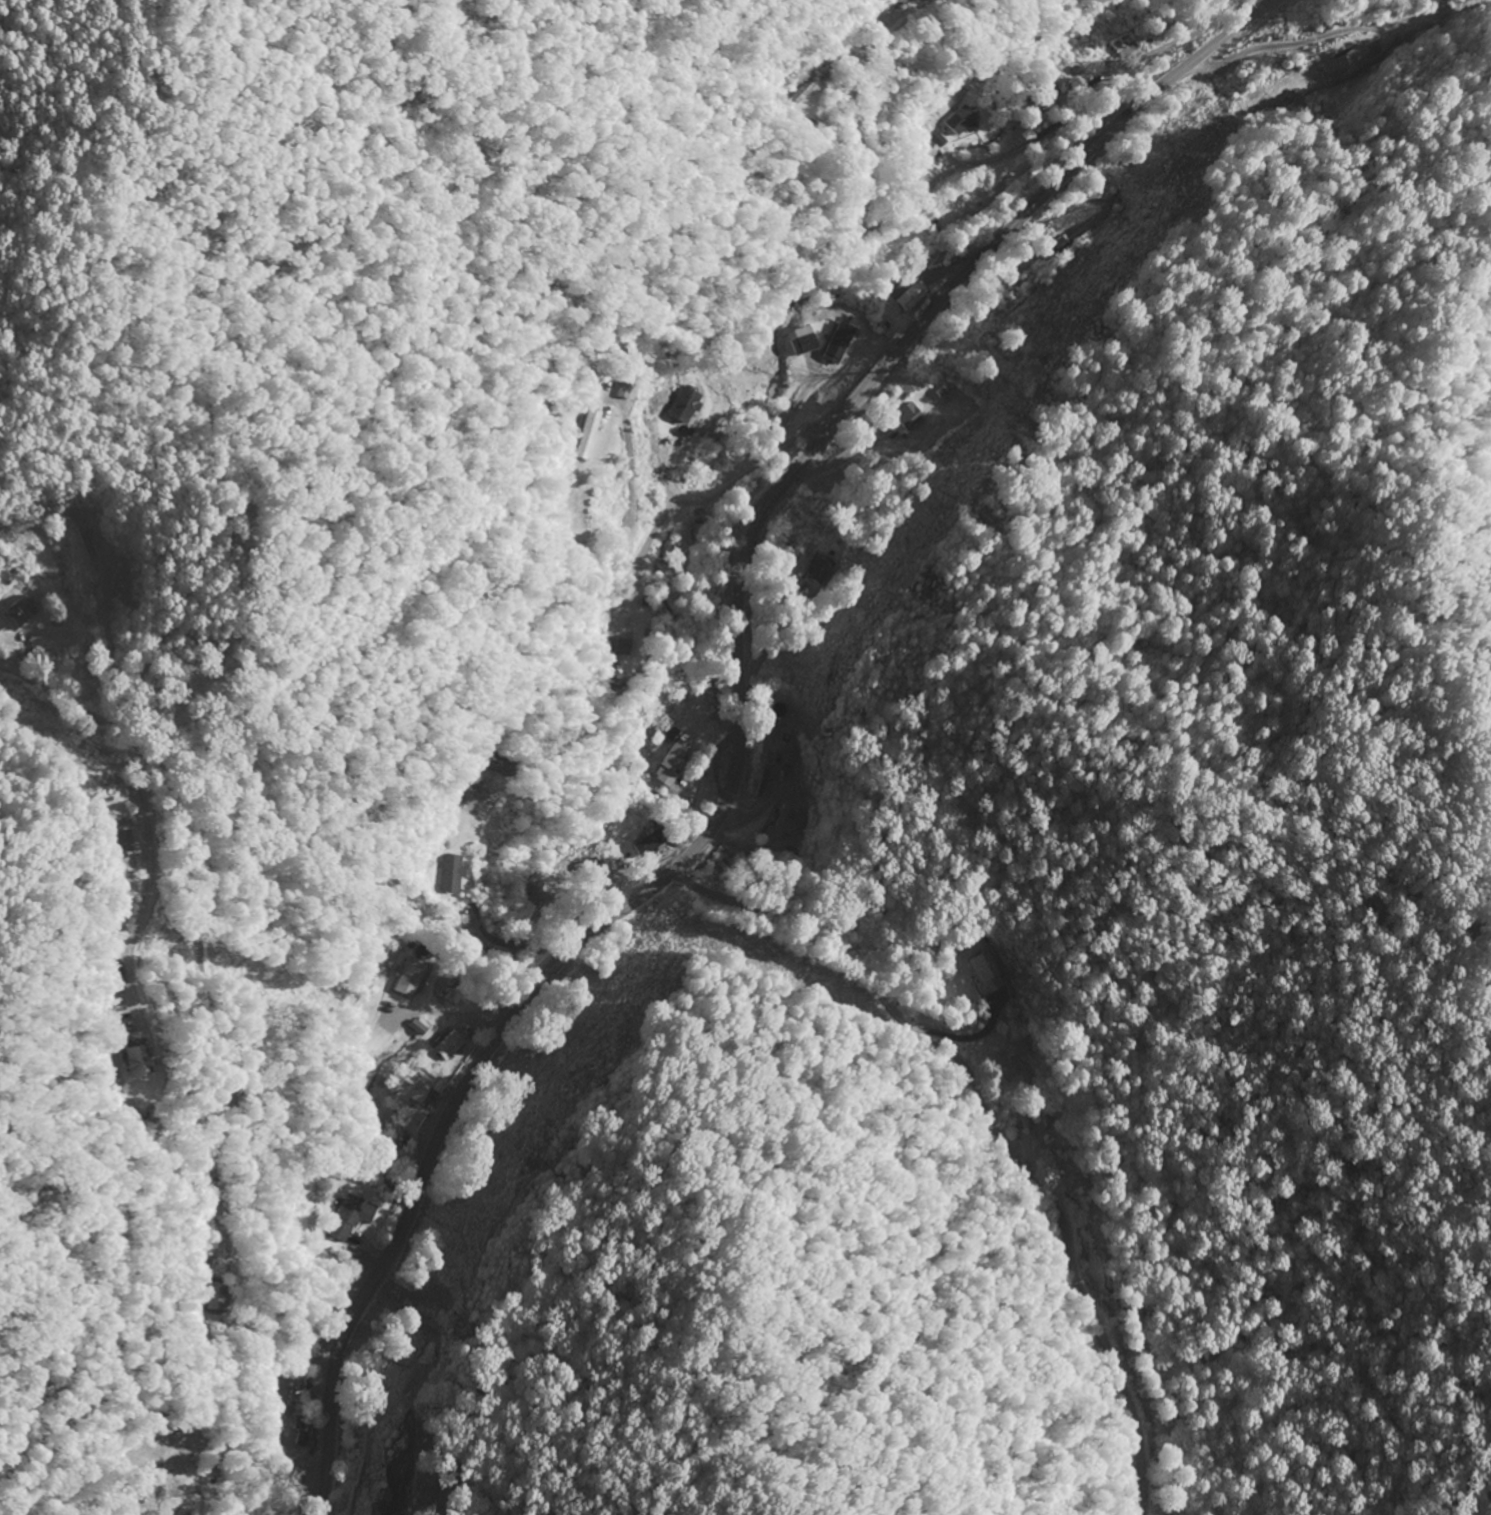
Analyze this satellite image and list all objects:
building: (961, 121)
road: (927, 191)
building: (903, 295)
building: (798, 341)
building: (831, 344)
building: (619, 391)
building: (678, 405)
building: (903, 417)
building: (586, 435)
road: (706, 496)
building: (17, 612)
park: (197, 686)
road: (738, 718)
building: (669, 763)
building: (780, 826)
building: (126, 842)
building: (641, 843)
building: (126, 865)
building: (585, 868)
building: (451, 874)
building: (986, 972)
building: (405, 976)
building: (412, 1027)
road: (215, 1036)
building: (442, 1046)
building: (134, 1061)
building: (403, 1090)
building: (347, 1217)
building: (215, 1297)
building: (286, 1391)

